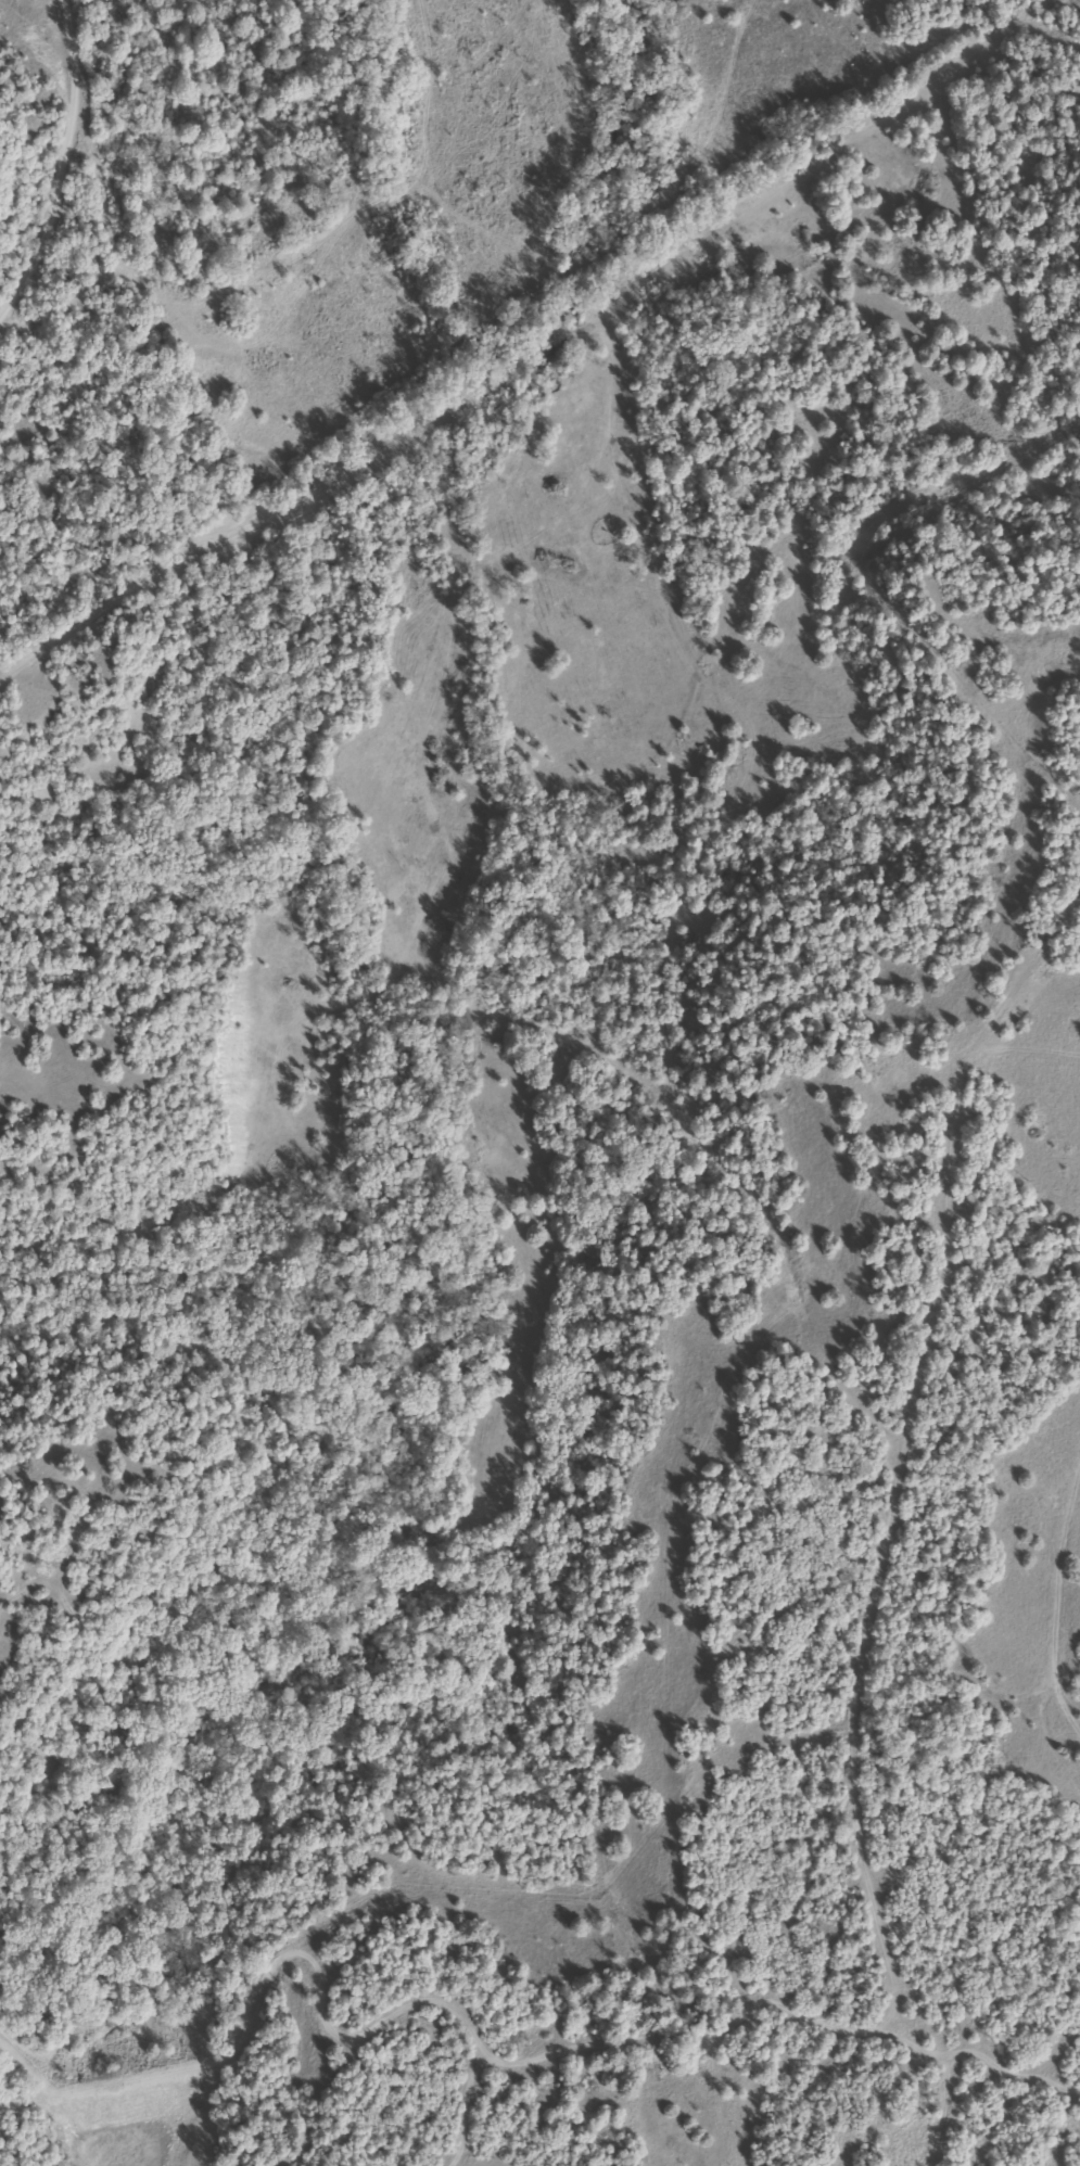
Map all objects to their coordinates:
road: (1078, 1636)
road: (991, 2086)

